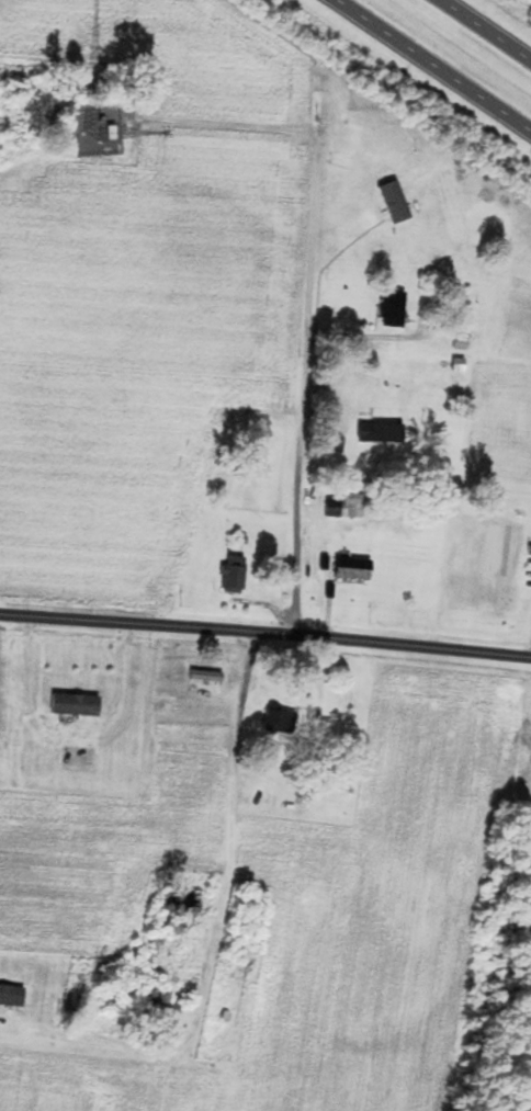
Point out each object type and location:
road: (485, 30)
road: (432, 67)
building: (394, 310)
building: (461, 340)
building: (459, 370)
road: (303, 386)
building: (383, 433)
building: (354, 569)
building: (235, 575)
road: (265, 633)
building: (206, 677)
building: (76, 705)
building: (281, 723)
building: (183, 898)
road: (223, 921)
building: (12, 996)
building: (170, 1004)

